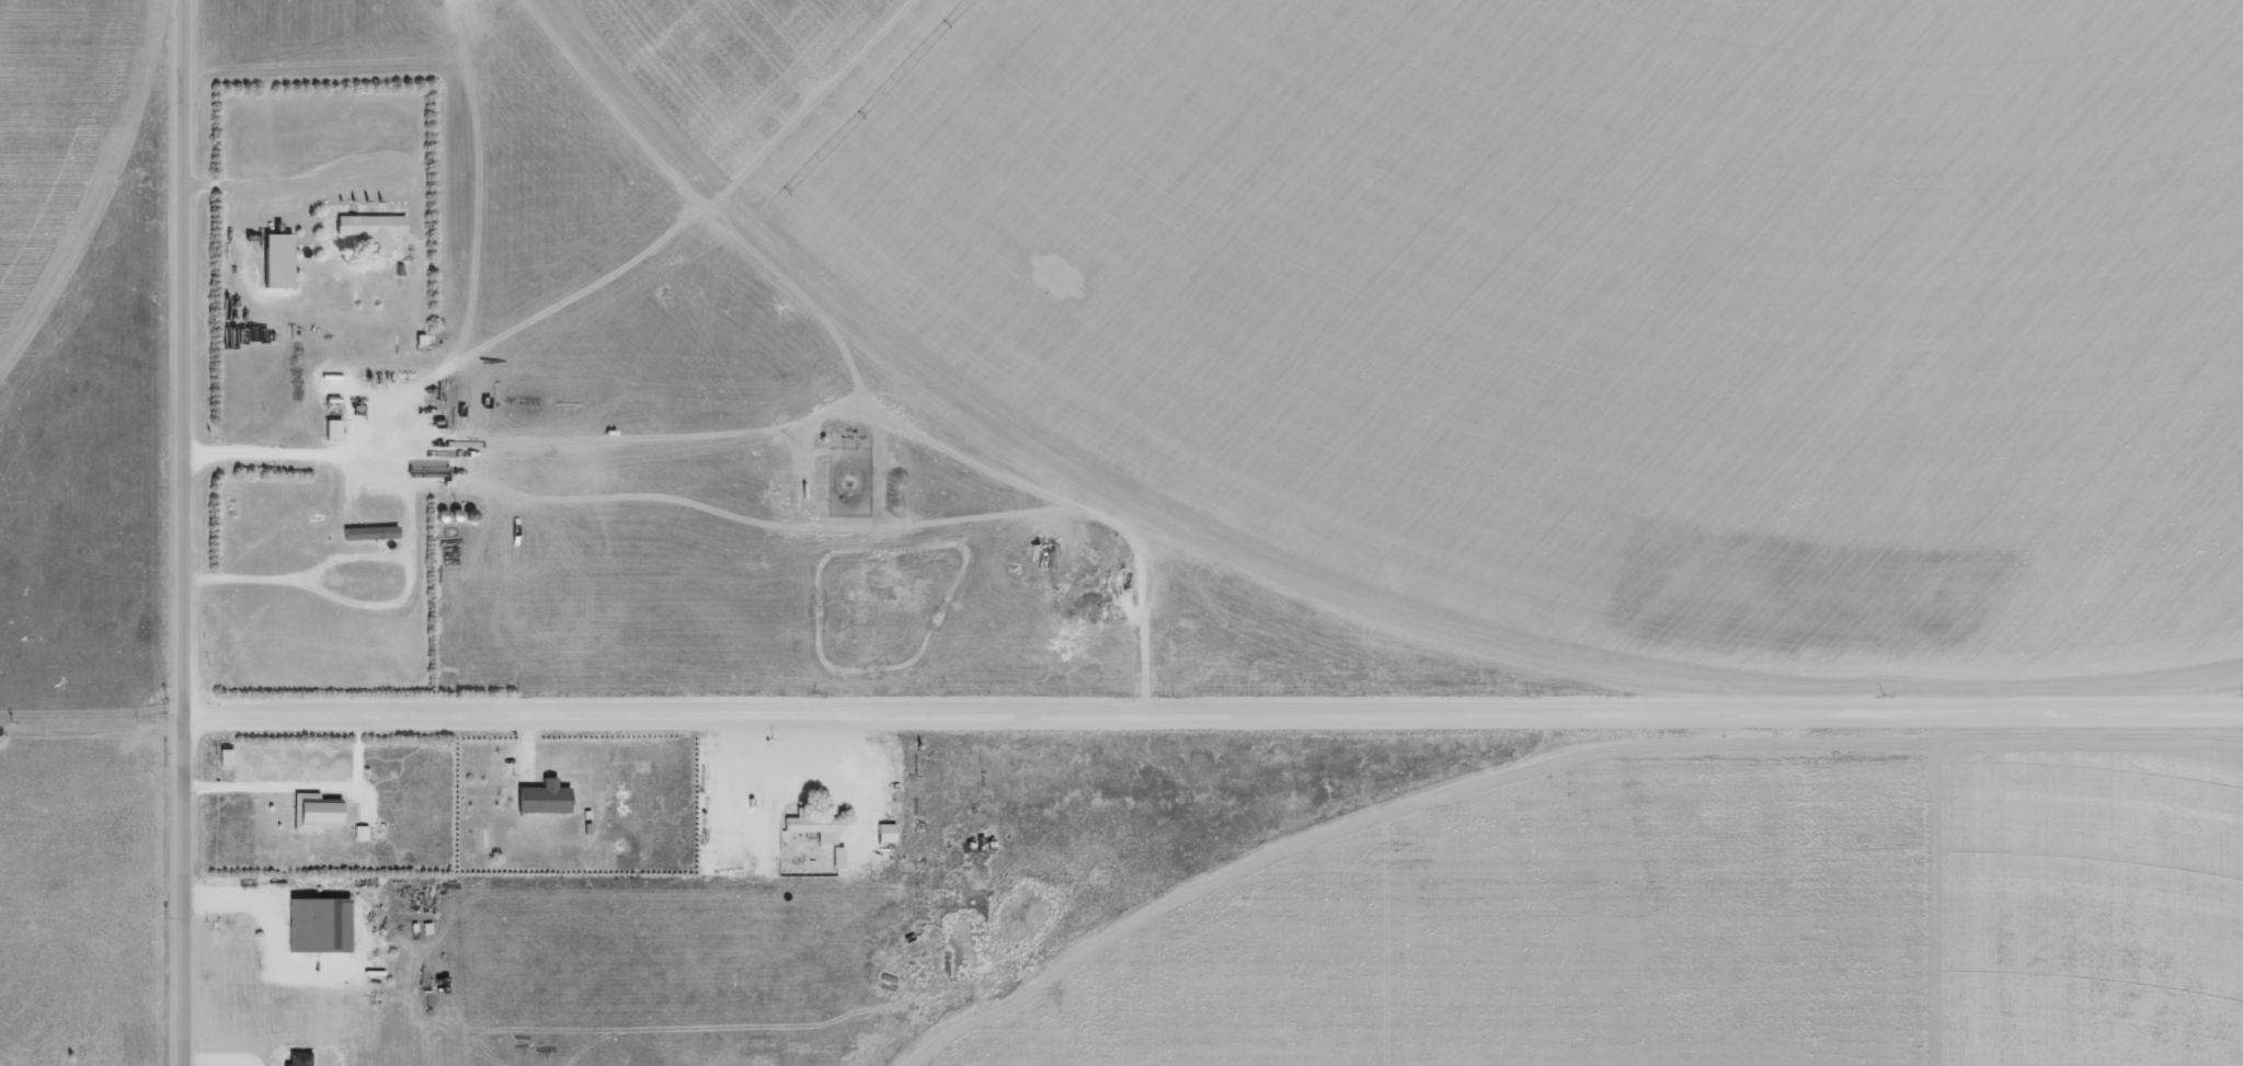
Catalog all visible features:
building: (371, 229)
building: (279, 260)
road: (181, 532)
building: (370, 532)
road: (91, 720)
road: (1212, 725)
building: (545, 798)
building: (328, 815)
building: (813, 825)
building: (362, 832)
building: (886, 833)
road: (1502, 896)
building: (320, 924)

